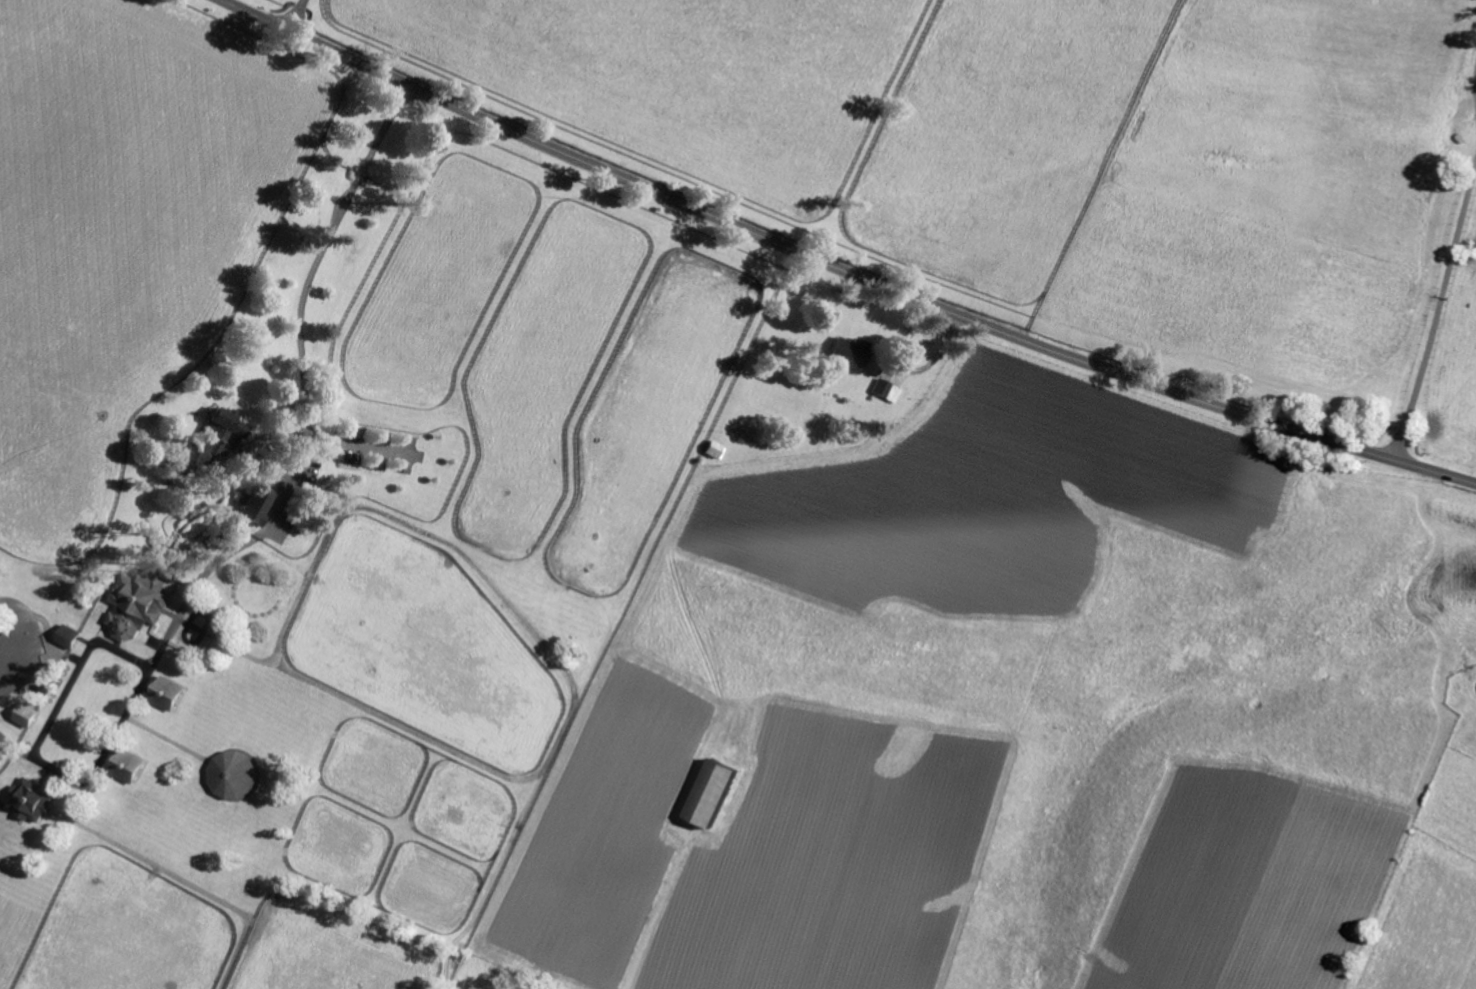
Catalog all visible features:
road: (295, 15)
road: (838, 268)
road: (301, 298)
road: (1437, 316)
building: (852, 354)
building: (214, 440)
road: (360, 445)
building: (257, 508)
road: (219, 559)
building: (143, 606)
road: (78, 673)
building: (173, 694)
road: (113, 739)
building: (720, 794)
building: (37, 800)

